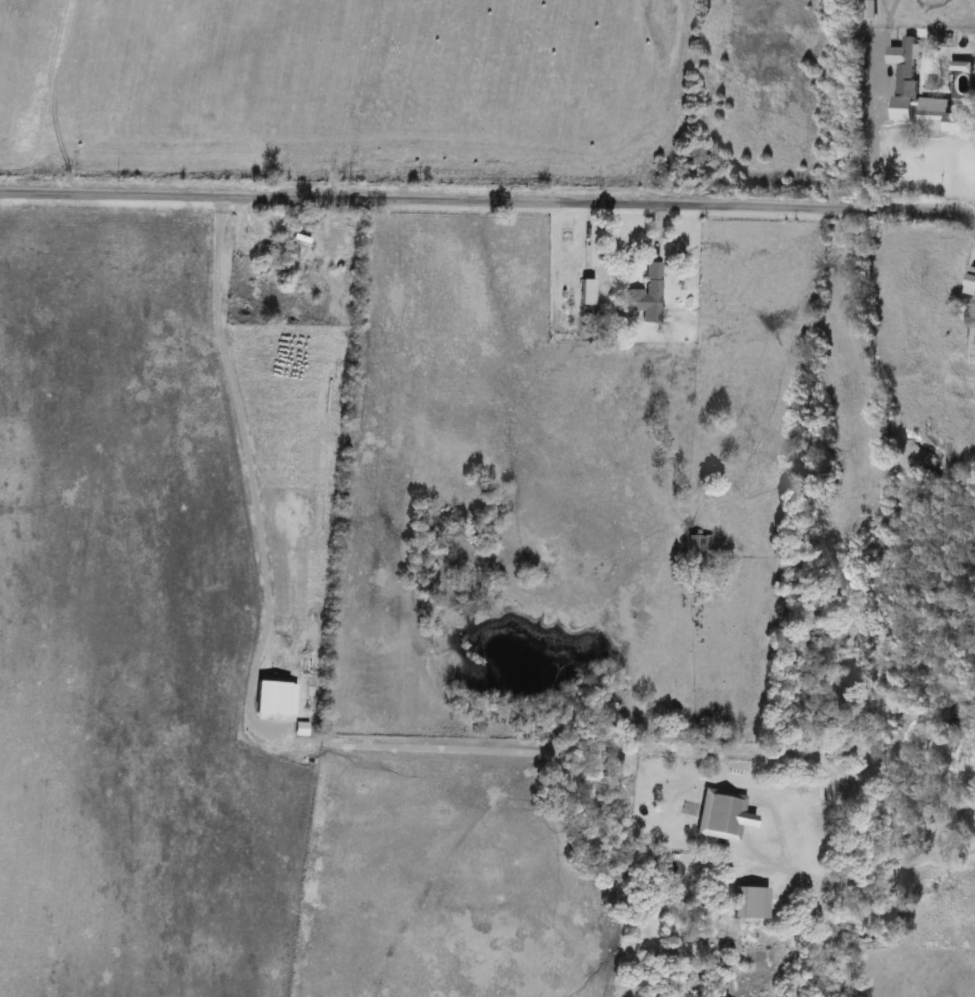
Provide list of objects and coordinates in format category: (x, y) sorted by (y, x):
road: (886, 7)
road: (892, 7)
building: (873, 75)
road: (876, 111)
building: (928, 114)
road: (488, 202)
building: (272, 255)
building: (587, 292)
building: (648, 295)
building: (973, 319)
road: (231, 423)
building: (698, 549)
road: (895, 867)
building: (750, 902)

